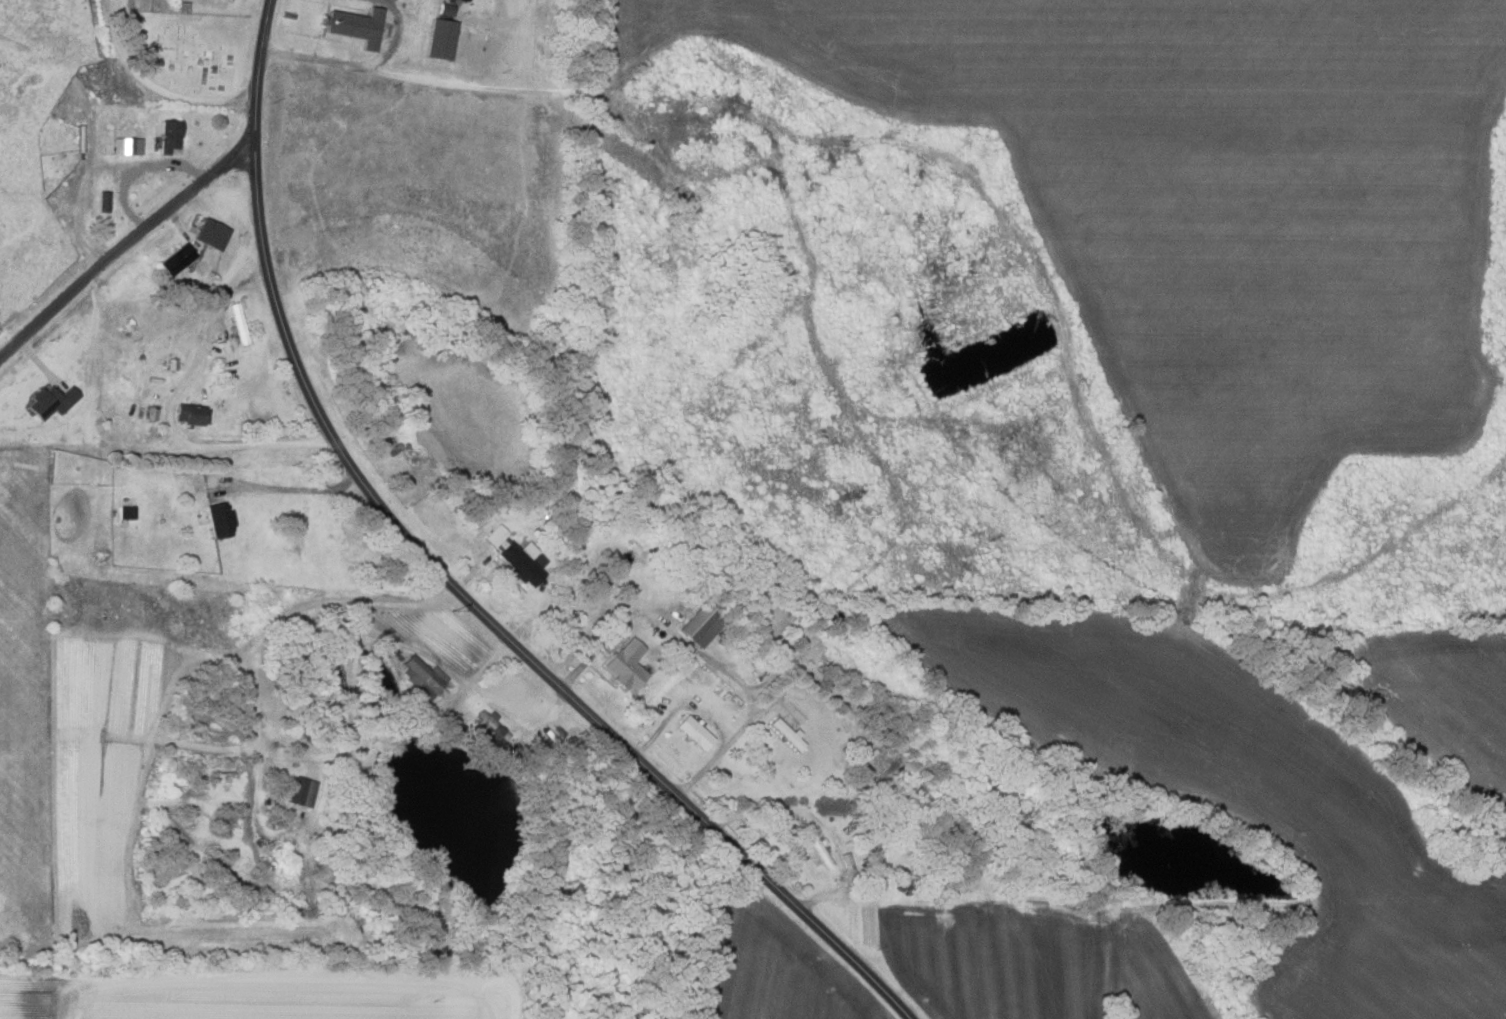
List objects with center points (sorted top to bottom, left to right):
building: (446, 9)
building: (354, 26)
road: (396, 36)
building: (441, 39)
road: (153, 85)
road: (937, 111)
building: (168, 136)
building: (126, 146)
road: (135, 167)
road: (77, 199)
building: (102, 202)
building: (211, 234)
road: (125, 251)
building: (176, 260)
road: (130, 451)
road: (289, 488)
building: (220, 521)
building: (516, 555)
road: (445, 578)
building: (701, 623)
road: (703, 655)
building: (627, 664)
building: (422, 676)
park: (25, 688)
road: (683, 706)
building: (495, 728)
building: (694, 731)
building: (787, 732)
road: (813, 773)
building: (301, 791)
road: (823, 828)
crop: (250, 996)

